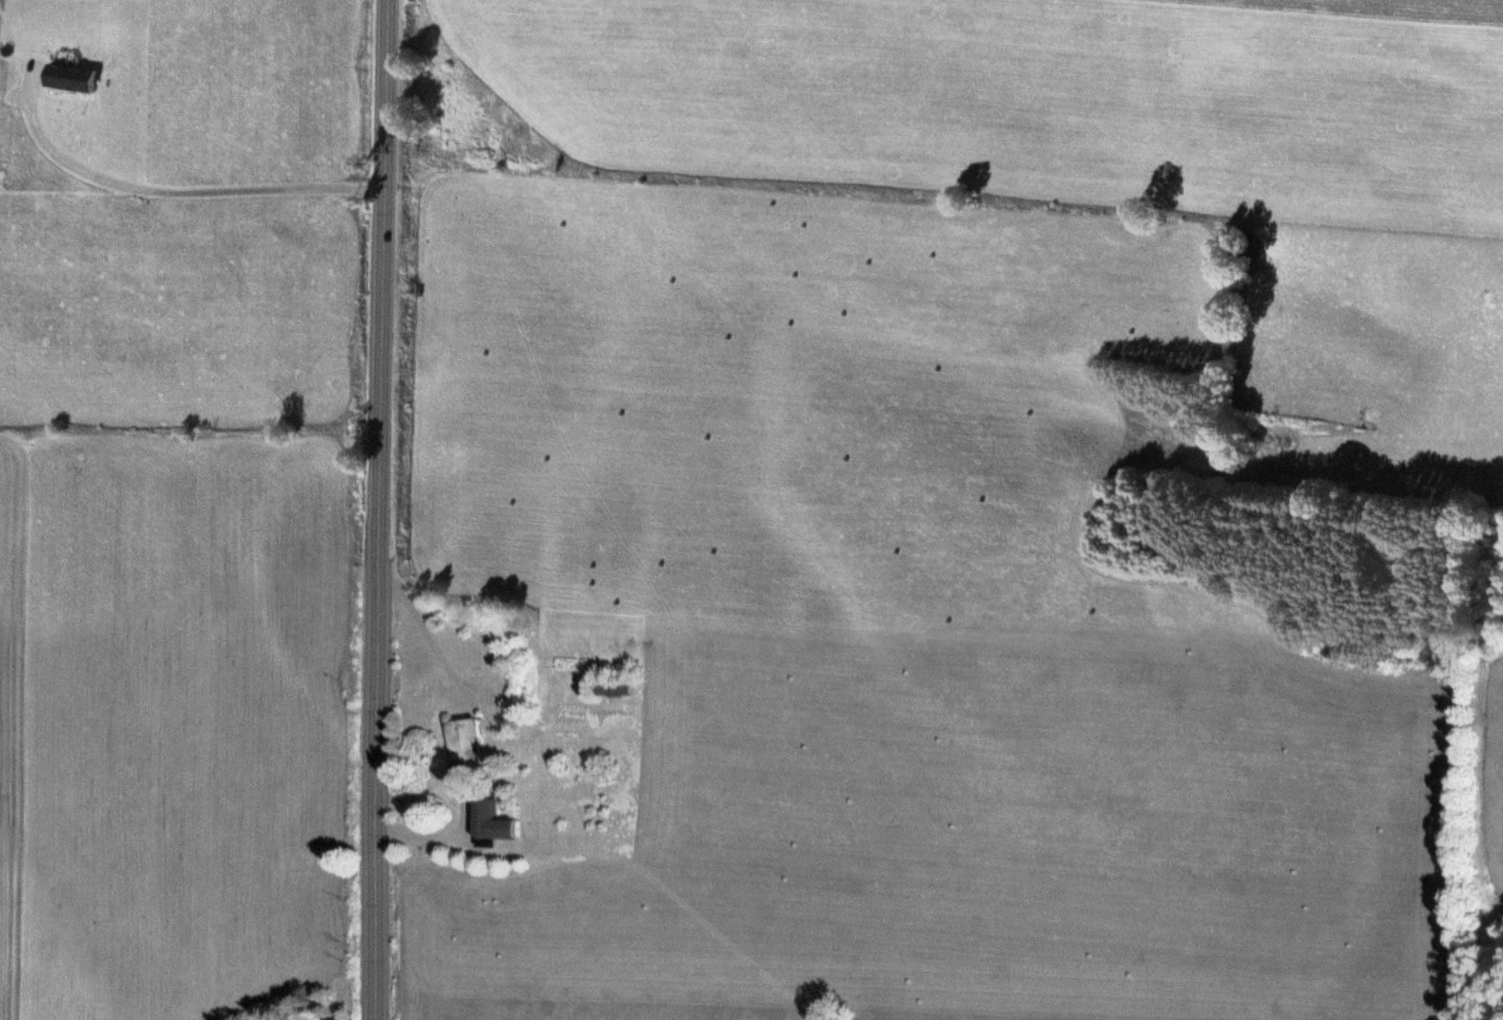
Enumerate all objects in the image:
road: (391, 510)
building: (619, 689)
building: (469, 740)
building: (500, 821)

